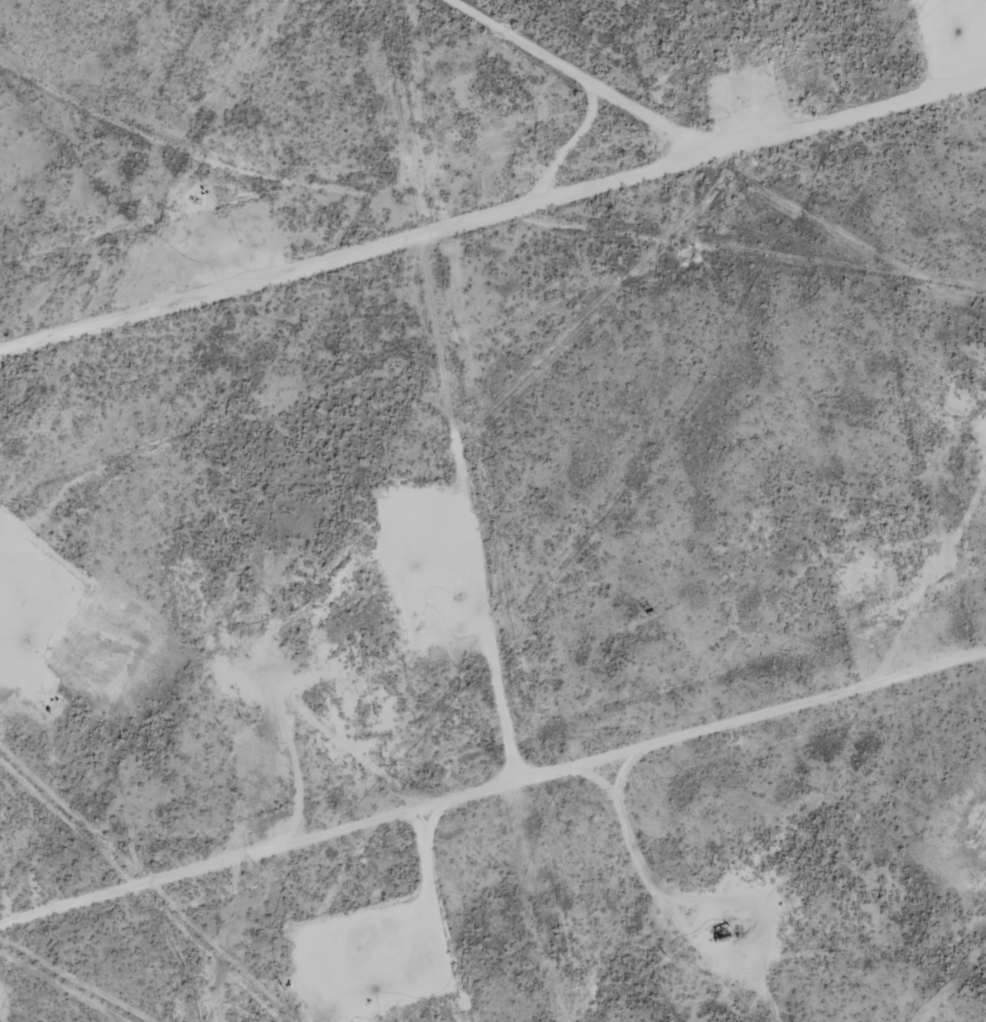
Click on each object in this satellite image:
road: (581, 72)
road: (492, 204)

